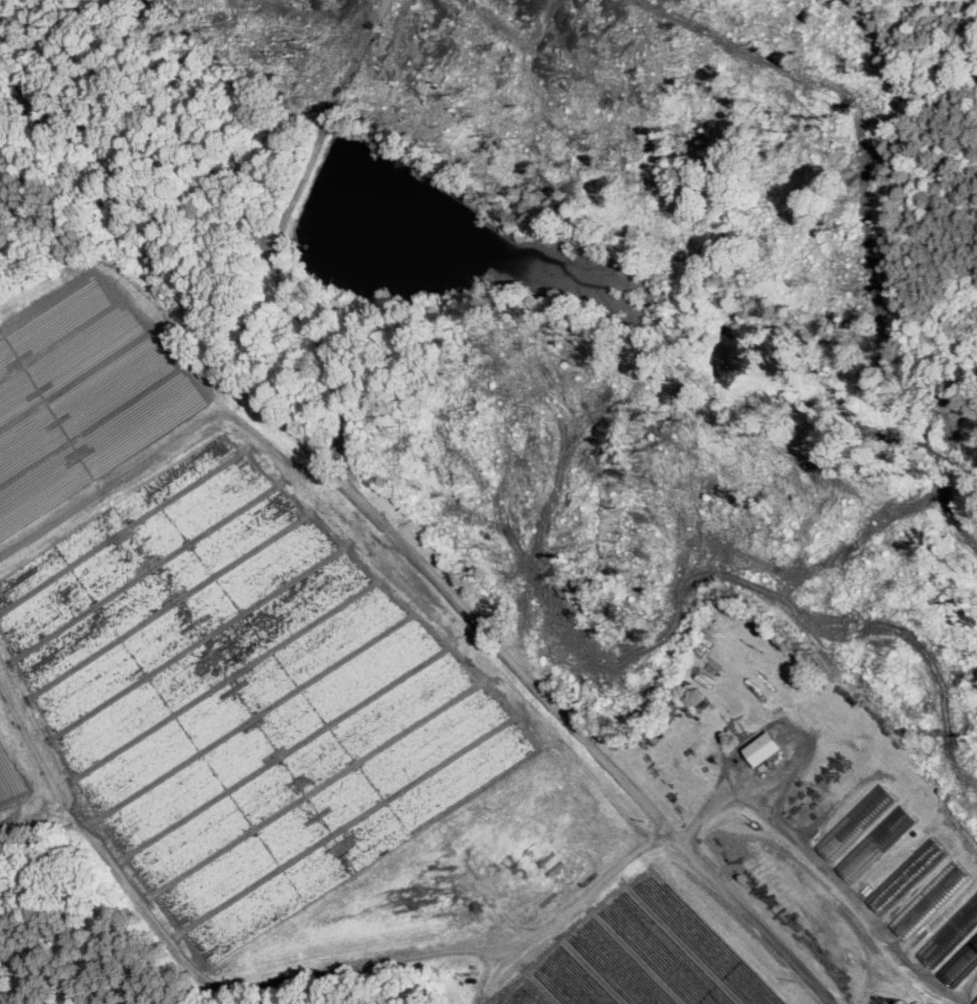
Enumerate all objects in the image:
road: (202, 63)
road: (327, 122)
building: (766, 747)
building: (856, 820)
road: (654, 837)
building: (876, 842)
building: (907, 874)
building: (929, 898)
building: (951, 932)
building: (960, 961)
building: (902, 1002)
building: (975, 1002)

